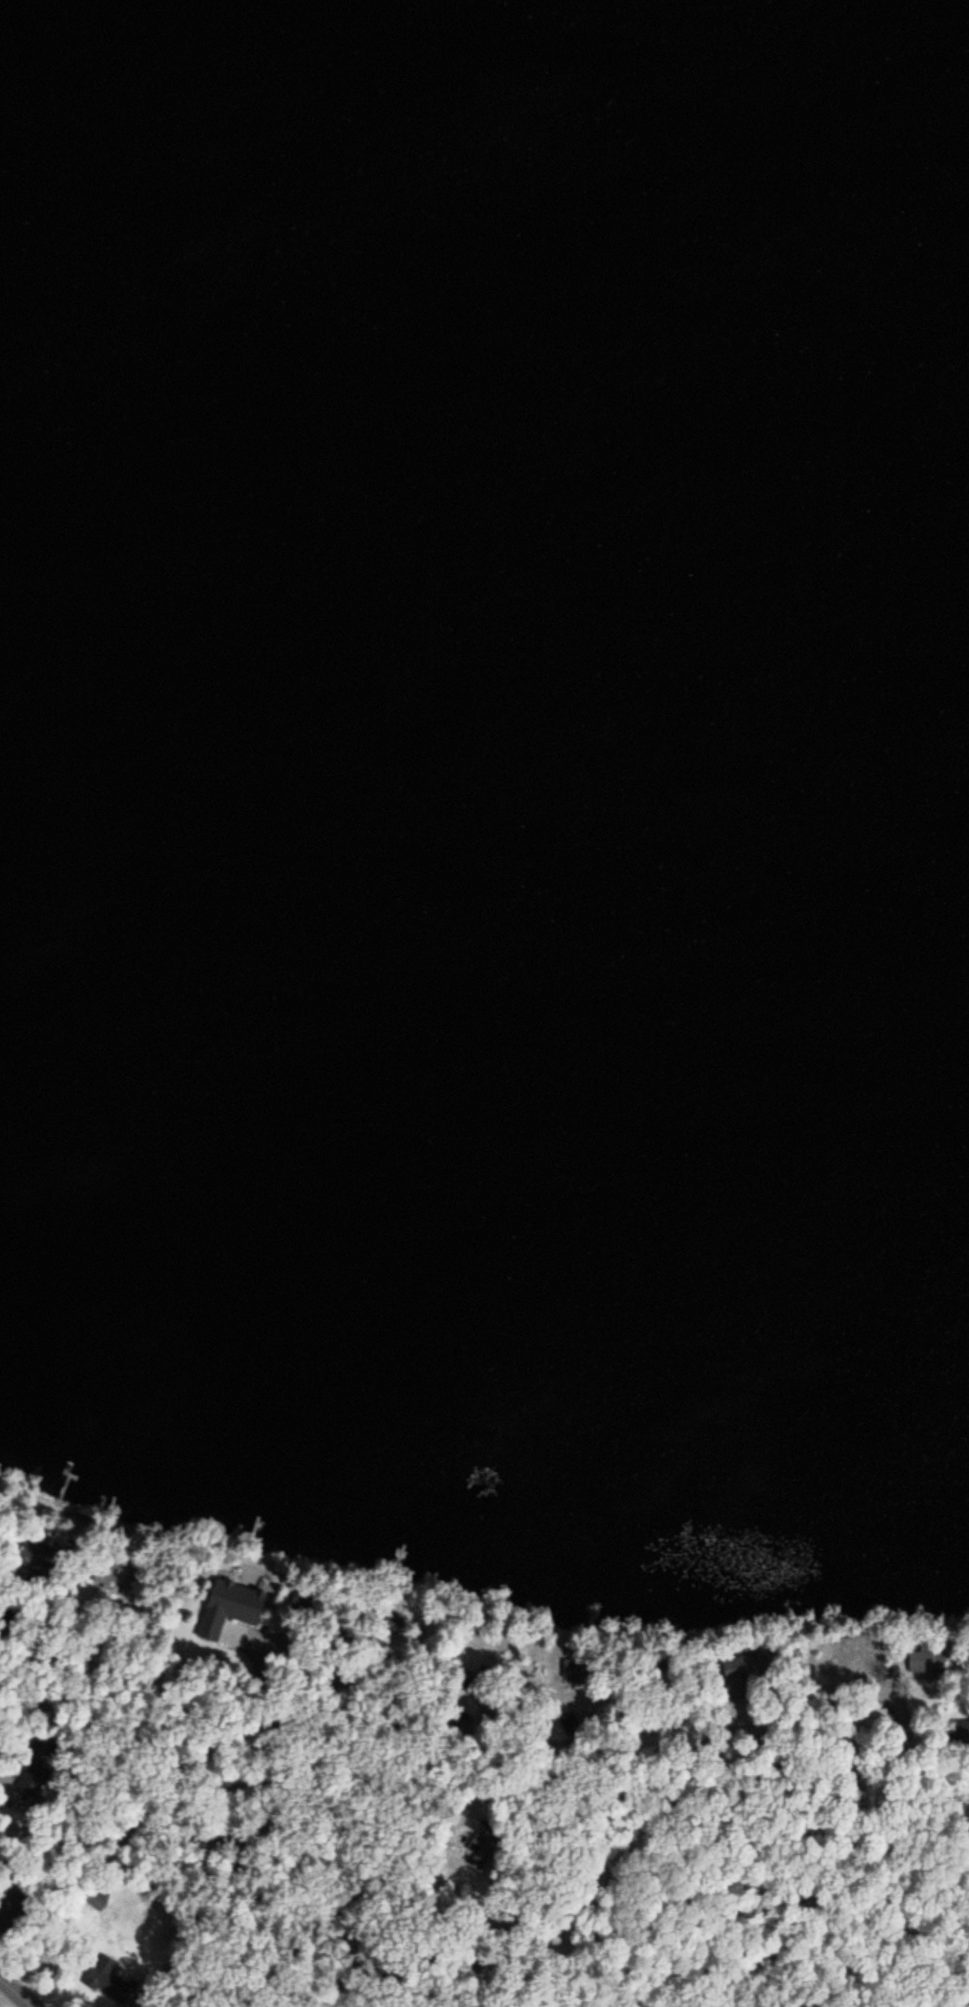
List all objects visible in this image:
building: (233, 1608)
road: (507, 1772)
road: (656, 1832)
road: (226, 1847)
road: (836, 1857)
road: (399, 1913)
road: (21, 1989)
road: (955, 1993)

